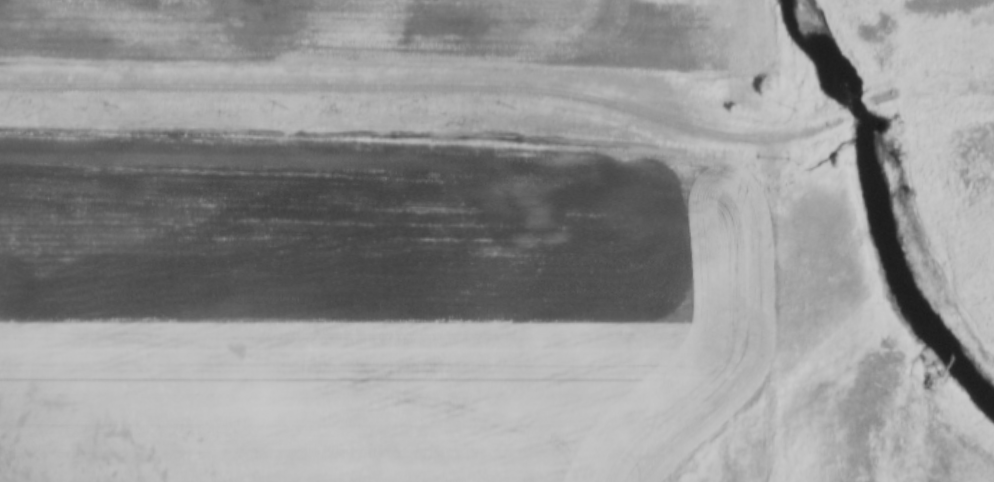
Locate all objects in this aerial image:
road: (504, 88)
river: (880, 151)

